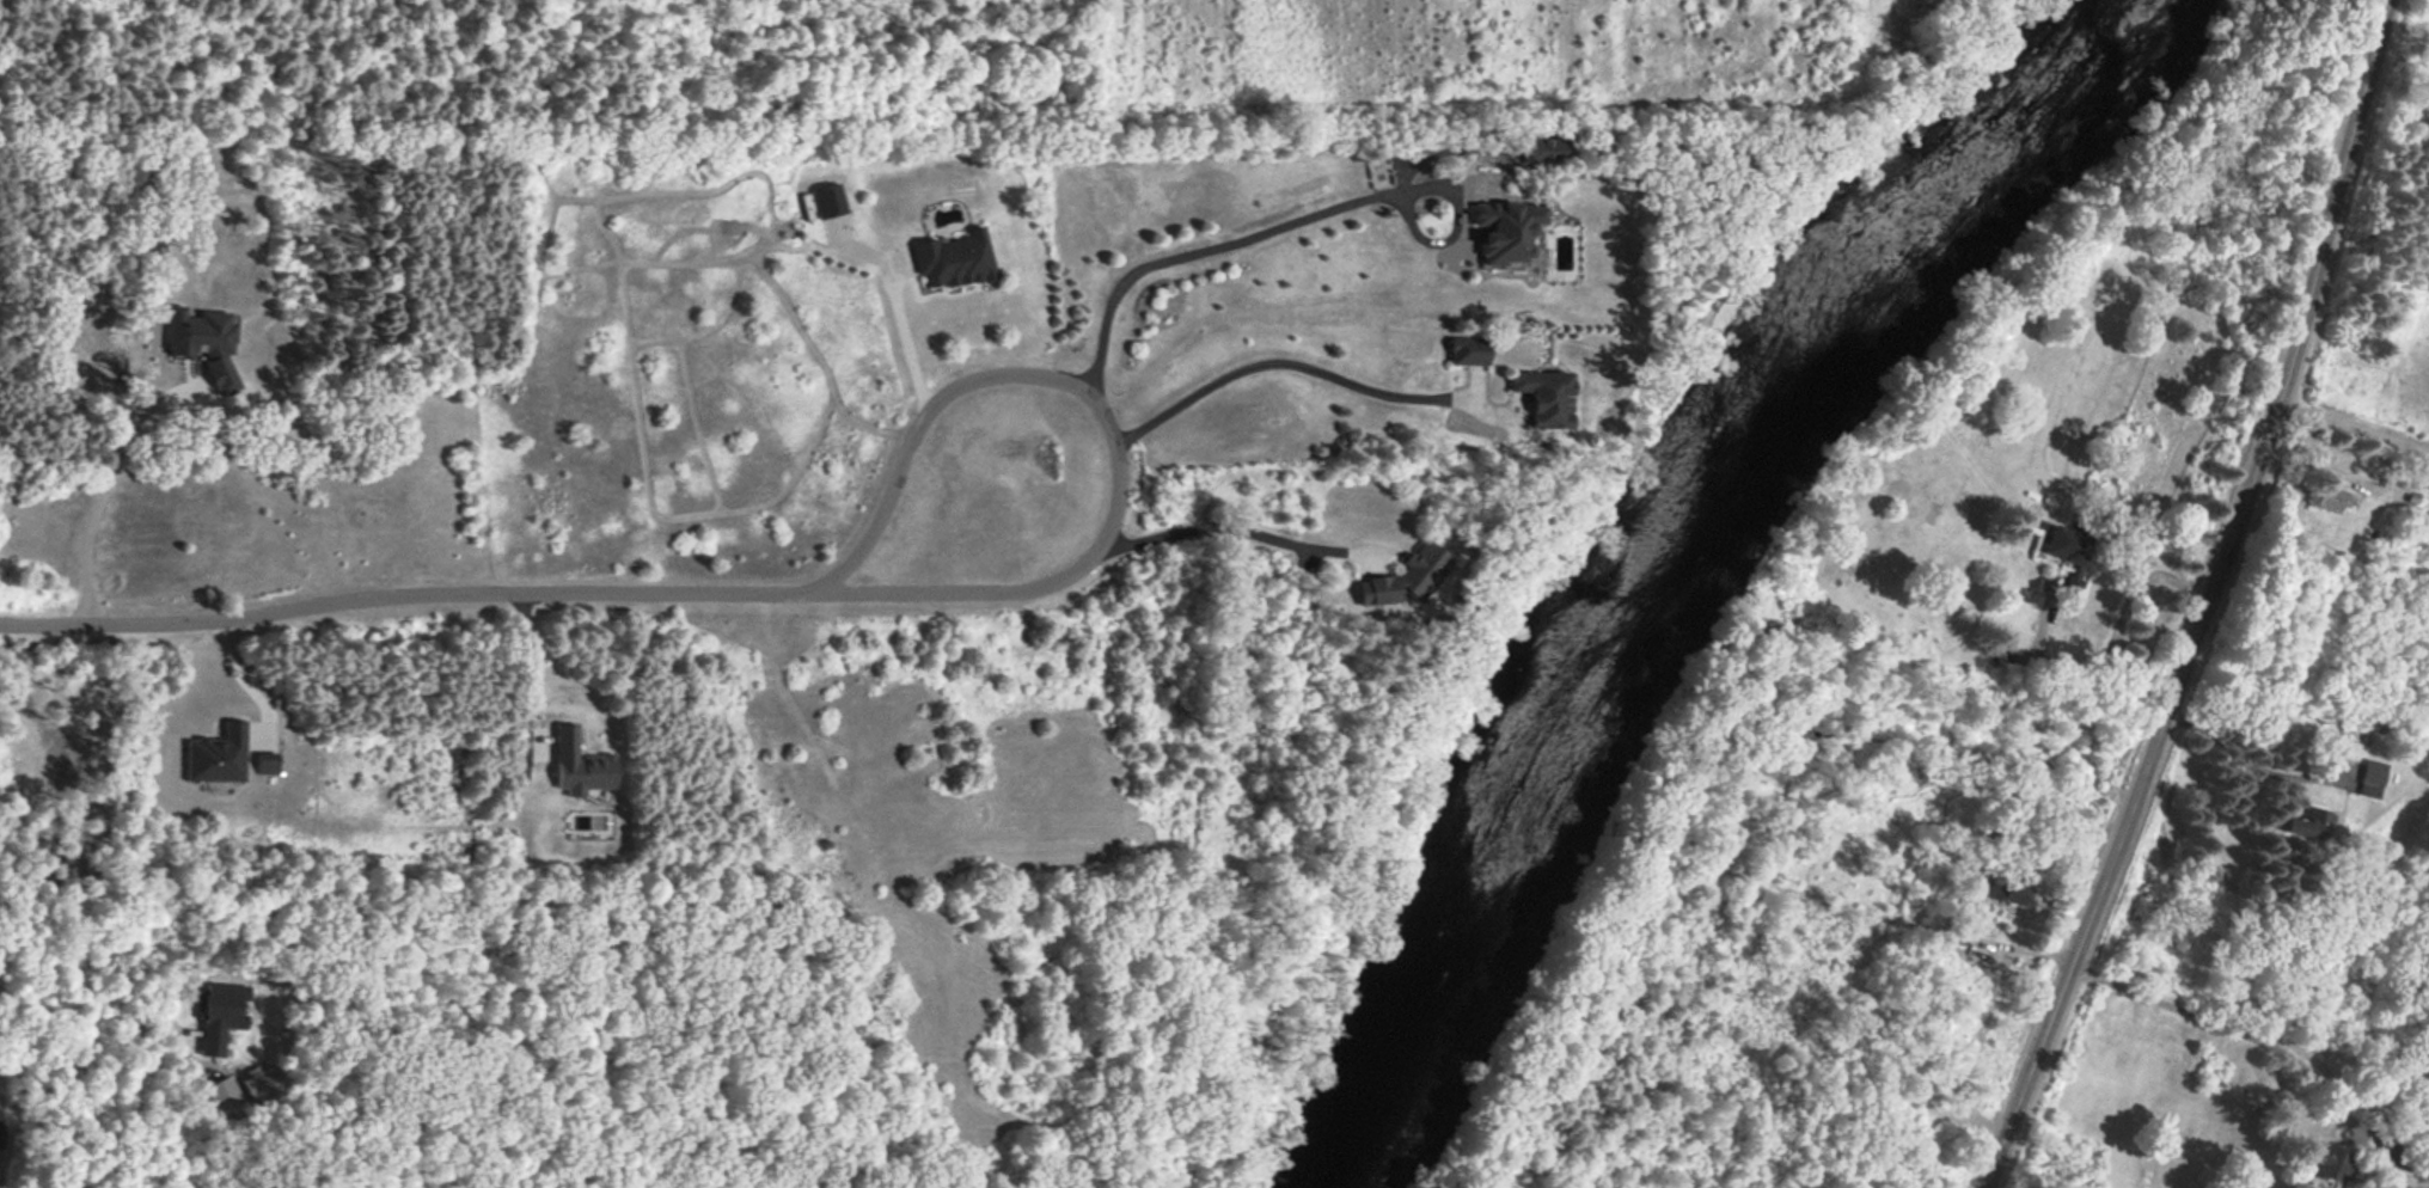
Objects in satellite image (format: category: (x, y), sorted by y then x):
building: (1547, 149)
building: (827, 200)
building: (1505, 229)
road: (1209, 251)
building: (953, 259)
road: (901, 339)
building: (203, 343)
building: (1467, 350)
road: (1279, 365)
building: (1543, 394)
road: (1108, 423)
road: (109, 484)
building: (2327, 497)
road: (1238, 529)
river: (1644, 546)
building: (2069, 551)
building: (1406, 577)
road: (411, 598)
road: (2207, 601)
road: (2111, 642)
road: (525, 669)
building: (218, 755)
building: (265, 763)
building: (580, 765)
road: (2251, 766)
building: (2370, 777)
building: (2307, 825)
building: (2012, 881)
road: (6, 1006)
building: (219, 1014)
road: (75, 1015)
road: (2229, 1028)
building: (257, 1082)
building: (220, 1095)
building: (0, 1135)
building: (2331, 1162)

